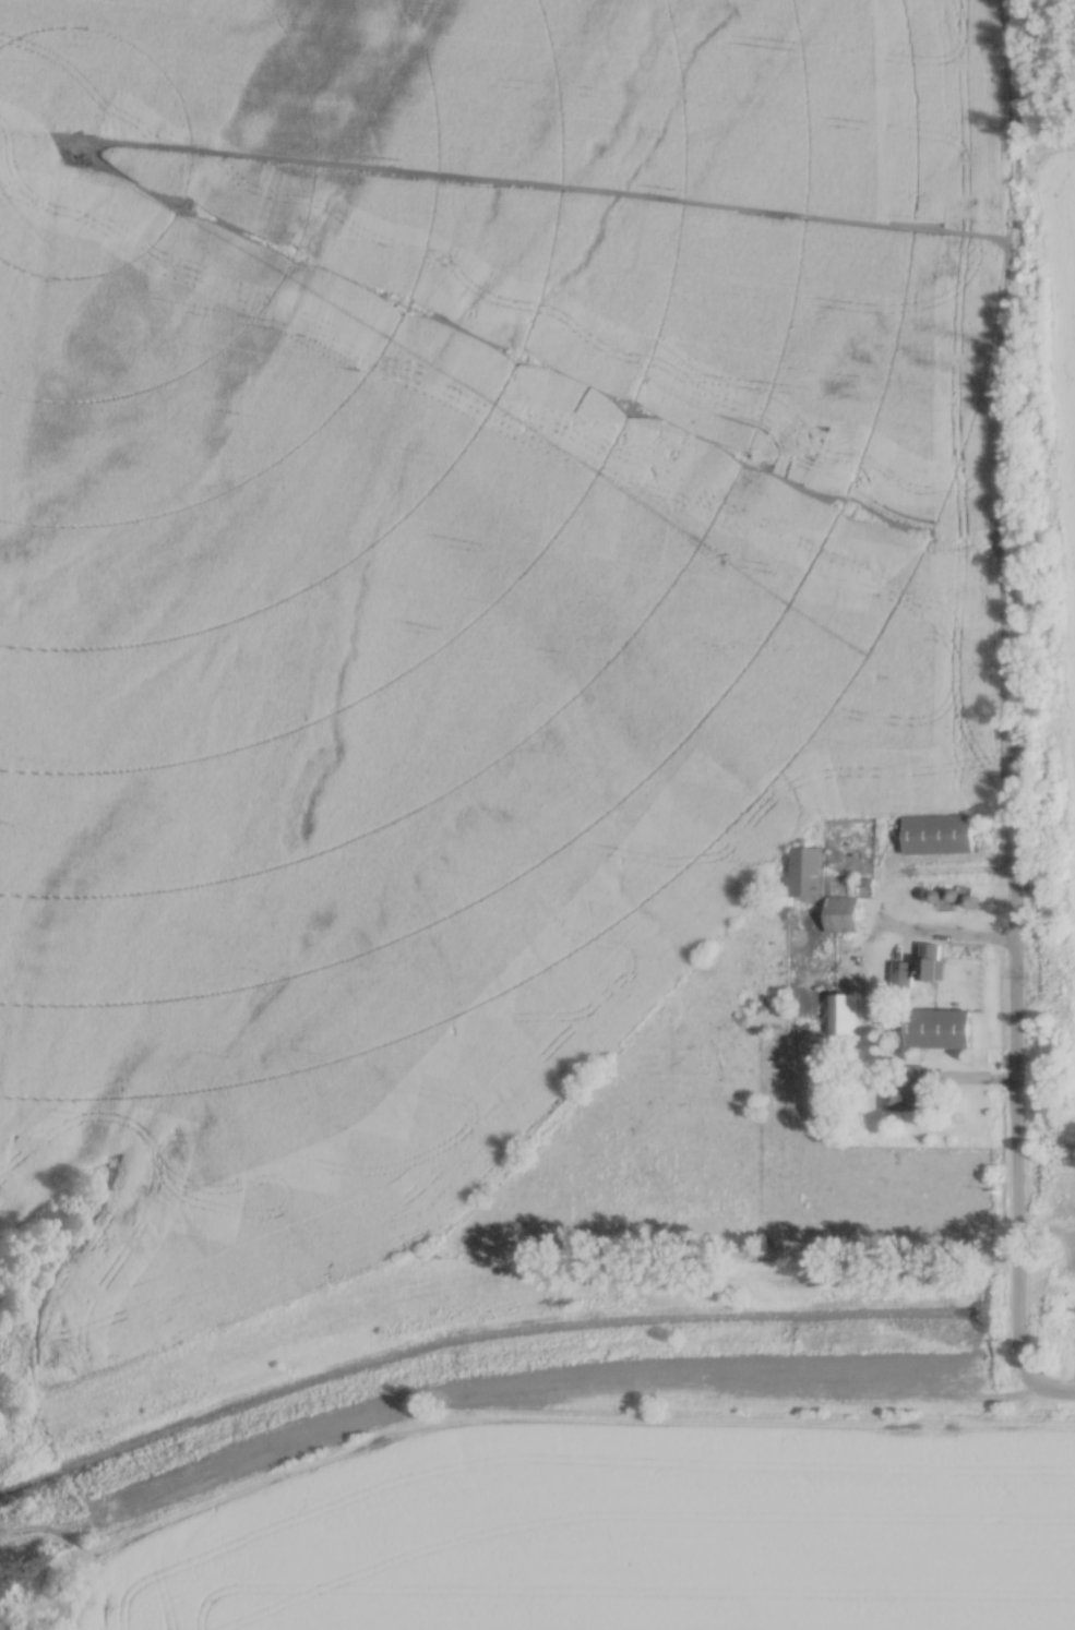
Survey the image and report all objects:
building: (807, 867)
building: (841, 909)
building: (928, 964)
building: (839, 1009)
building: (907, 1086)
road: (1014, 1117)

